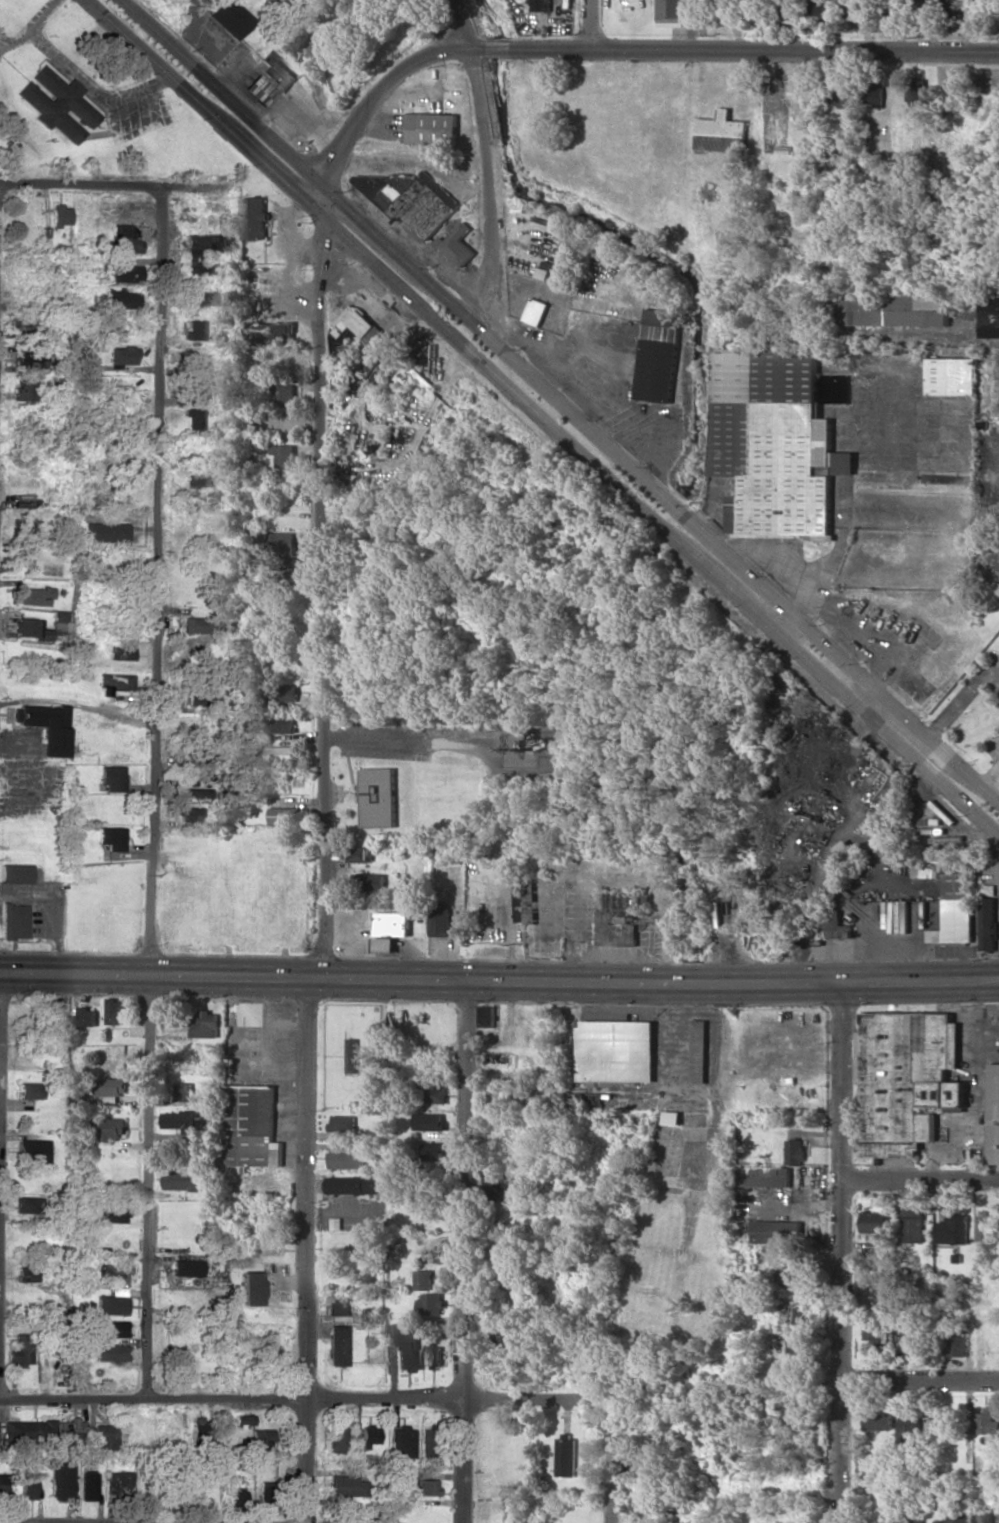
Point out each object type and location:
building: (542, 5)
building: (724, 7)
building: (785, 8)
building: (816, 8)
building: (854, 9)
building: (670, 13)
building: (230, 17)
road: (593, 24)
road: (32, 28)
road: (624, 49)
road: (310, 68)
building: (277, 71)
road: (94, 90)
building: (257, 90)
building: (917, 92)
building: (873, 94)
road: (228, 95)
building: (58, 104)
road: (208, 108)
building: (431, 128)
building: (721, 132)
building: (770, 146)
road: (487, 159)
traffic signals: (332, 167)
road: (111, 185)
traffic signals: (304, 198)
road: (328, 206)
building: (431, 206)
traffic signals: (351, 212)
building: (59, 214)
building: (254, 217)
building: (22, 218)
building: (21, 237)
building: (126, 237)
traffic signals: (325, 245)
building: (459, 245)
building: (203, 251)
building: (125, 273)
building: (120, 298)
building: (200, 298)
building: (894, 309)
building: (536, 311)
building: (992, 316)
building: (355, 323)
building: (194, 329)
building: (271, 334)
building: (122, 354)
building: (659, 354)
building: (28, 360)
building: (951, 376)
building: (24, 387)
building: (201, 388)
building: (286, 394)
building: (194, 418)
building: (775, 440)
building: (284, 455)
building: (195, 478)
road: (665, 498)
road: (78, 507)
road: (288, 523)
building: (104, 531)
road: (660, 531)
building: (282, 541)
building: (294, 562)
building: (35, 595)
road: (319, 598)
building: (200, 625)
building: (26, 627)
building: (119, 651)
building: (113, 683)
road: (957, 699)
building: (280, 724)
building: (44, 726)
building: (281, 754)
building: (111, 777)
road: (151, 791)
building: (193, 792)
building: (378, 796)
building: (188, 813)
building: (284, 815)
building: (110, 837)
building: (846, 850)
building: (361, 853)
building: (15, 873)
building: (368, 881)
building: (524, 902)
building: (951, 902)
building: (619, 910)
building: (14, 921)
building: (439, 921)
building: (392, 923)
building: (988, 923)
building: (834, 928)
building: (383, 945)
road: (499, 980)
building: (115, 1011)
building: (88, 1016)
building: (485, 1016)
building: (206, 1023)
building: (617, 1050)
building: (700, 1051)
building: (353, 1056)
building: (905, 1080)
building: (112, 1086)
building: (29, 1090)
building: (186, 1091)
building: (433, 1094)
building: (558, 1097)
building: (594, 1103)
building: (993, 1113)
building: (674, 1117)
building: (183, 1120)
building: (428, 1121)
building: (343, 1123)
building: (252, 1126)
building: (109, 1128)
building: (434, 1150)
building: (33, 1151)
building: (795, 1151)
road: (722, 1153)
building: (349, 1159)
building: (766, 1176)
road: (923, 1179)
building: (182, 1180)
building: (497, 1183)
building: (357, 1185)
building: (28, 1204)
building: (112, 1213)
building: (874, 1221)
building: (914, 1224)
building: (953, 1229)
building: (778, 1231)
building: (986, 1231)
road: (306, 1250)
road: (464, 1251)
road: (845, 1252)
building: (186, 1267)
building: (786, 1269)
building: (112, 1272)
building: (26, 1273)
building: (423, 1279)
building: (251, 1288)
building: (113, 1302)
building: (430, 1303)
building: (338, 1305)
building: (793, 1313)
building: (372, 1314)
building: (110, 1328)
building: (877, 1333)
building: (502, 1339)
building: (911, 1340)
building: (957, 1340)
building: (337, 1344)
building: (405, 1344)
building: (795, 1349)
building: (21, 1350)
building: (109, 1352)
building: (433, 1356)
road: (920, 1377)
road: (304, 1398)
building: (793, 1407)
building: (879, 1419)
building: (944, 1423)
building: (987, 1424)
building: (232, 1426)
building: (198, 1427)
building: (30, 1429)
building: (909, 1430)
building: (69, 1431)
building: (367, 1435)
building: (103, 1436)
building: (260, 1438)
building: (335, 1439)
building: (401, 1441)
building: (426, 1442)
building: (565, 1457)
road: (612, 1461)
building: (61, 1480)
building: (117, 1482)
building: (346, 1484)
building: (3, 1485)
building: (29, 1486)
building: (89, 1486)
building: (425, 1486)
building: (264, 1493)
building: (234, 1498)
building: (348, 1509)
building: (916, 1512)
building: (984, 1517)

